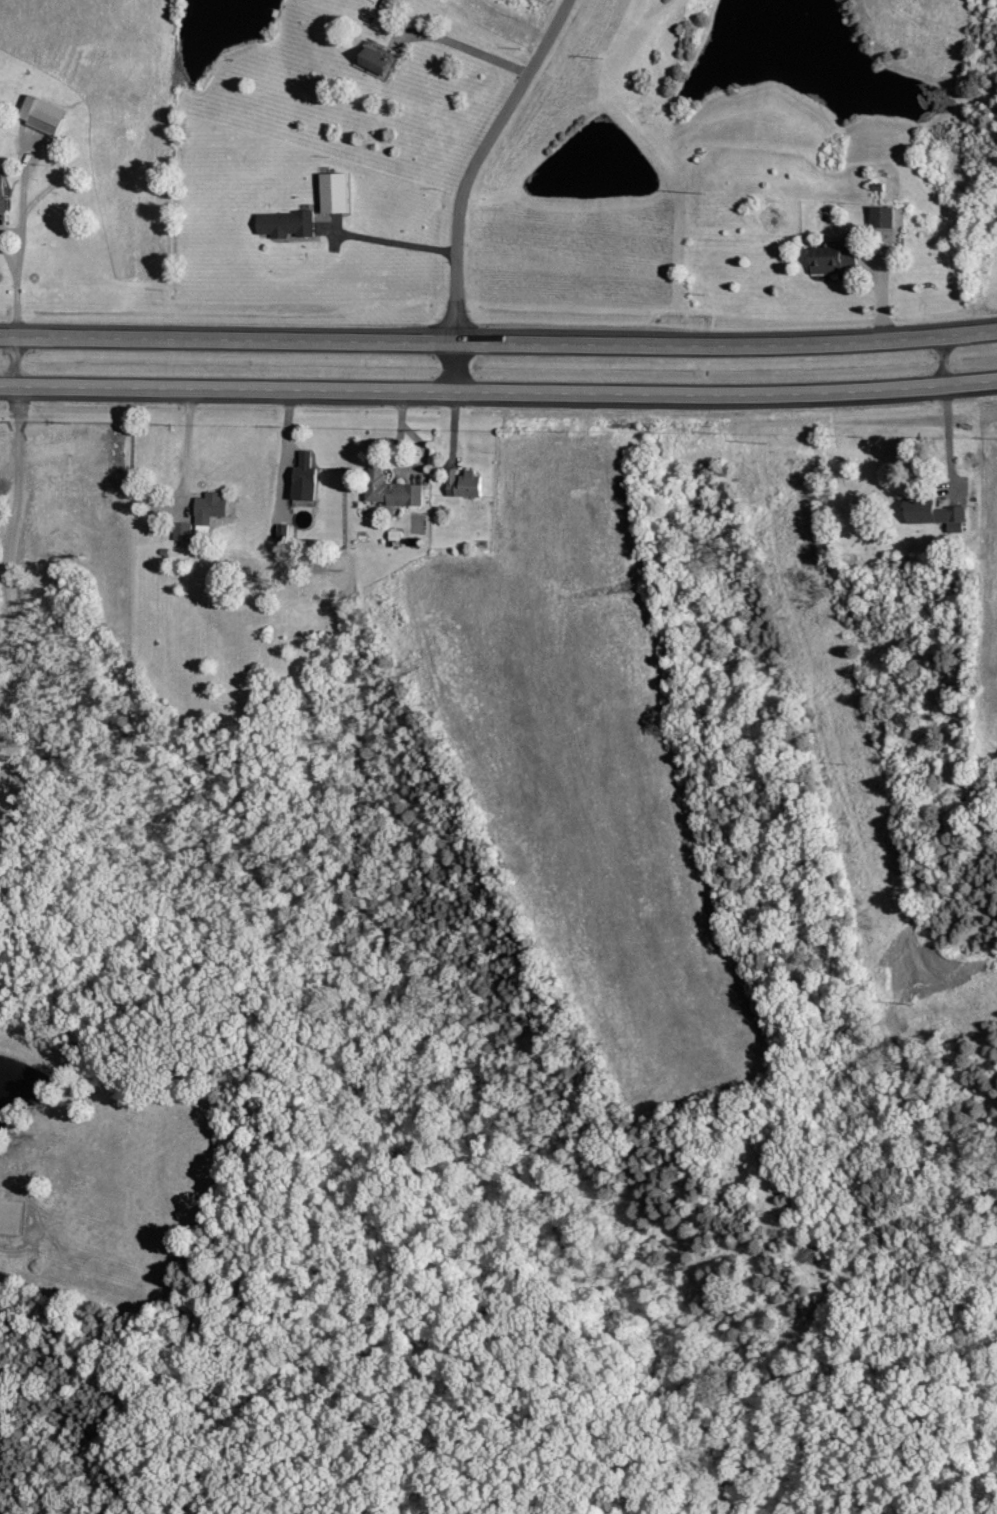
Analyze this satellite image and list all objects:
road: (459, 53)
building: (376, 59)
building: (43, 114)
road: (466, 184)
building: (335, 192)
building: (887, 217)
building: (287, 223)
road: (393, 243)
building: (836, 259)
road: (12, 277)
road: (498, 344)
road: (943, 364)
road: (498, 395)
road: (945, 446)
road: (184, 447)
building: (305, 477)
building: (464, 484)
building: (392, 490)
building: (210, 507)
building: (941, 517)
building: (183, 531)
building: (284, 532)

